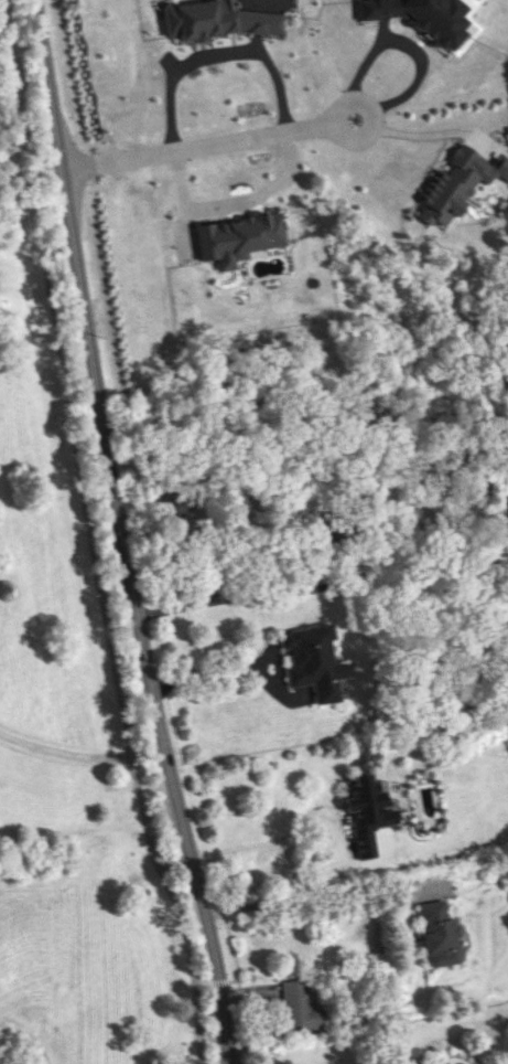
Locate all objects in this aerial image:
building: (422, 17)
building: (214, 19)
road: (410, 44)
road: (217, 54)
road: (20, 119)
road: (421, 135)
road: (210, 143)
building: (456, 183)
road: (231, 203)
building: (236, 237)
road: (82, 485)
road: (123, 533)
road: (250, 595)
building: (313, 660)
road: (227, 670)
park: (69, 687)
road: (62, 751)
building: (368, 811)
road: (312, 847)
road: (321, 892)
road: (171, 895)
building: (439, 934)
building: (298, 1006)

